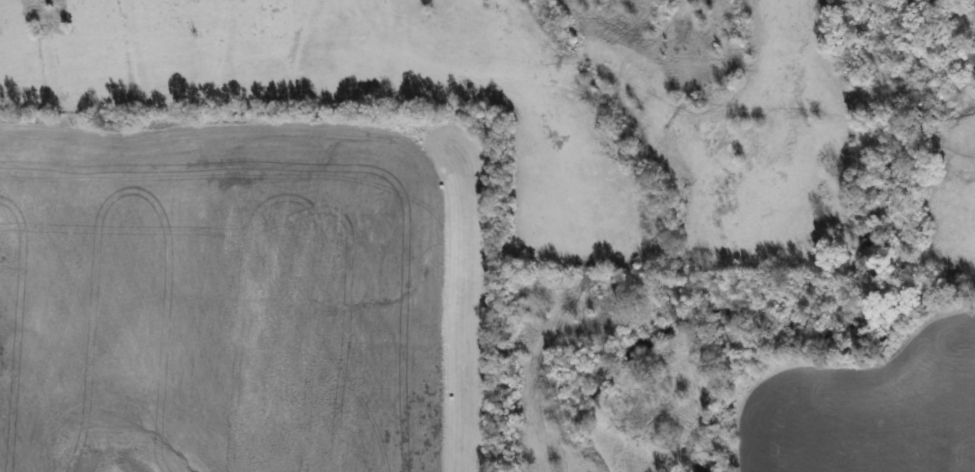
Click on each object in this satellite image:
river: (808, 324)

